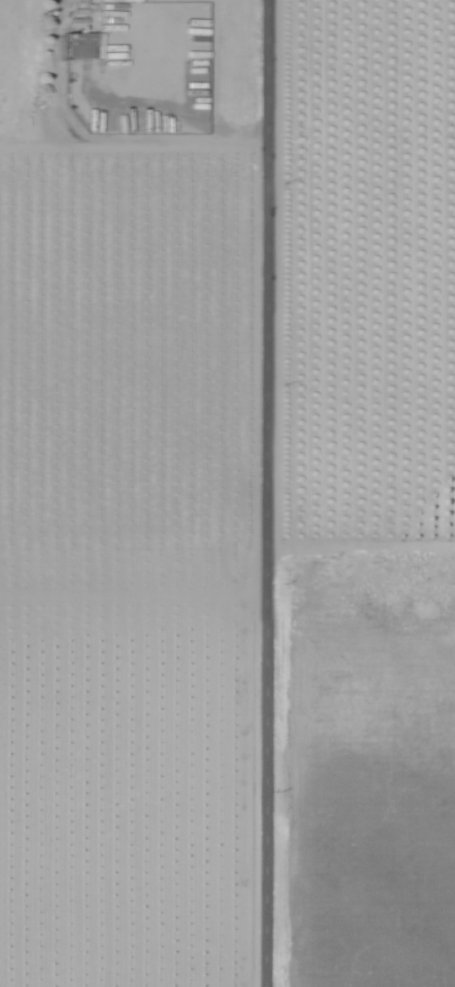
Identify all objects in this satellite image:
road: (92, 144)
road: (260, 493)
road: (357, 544)

